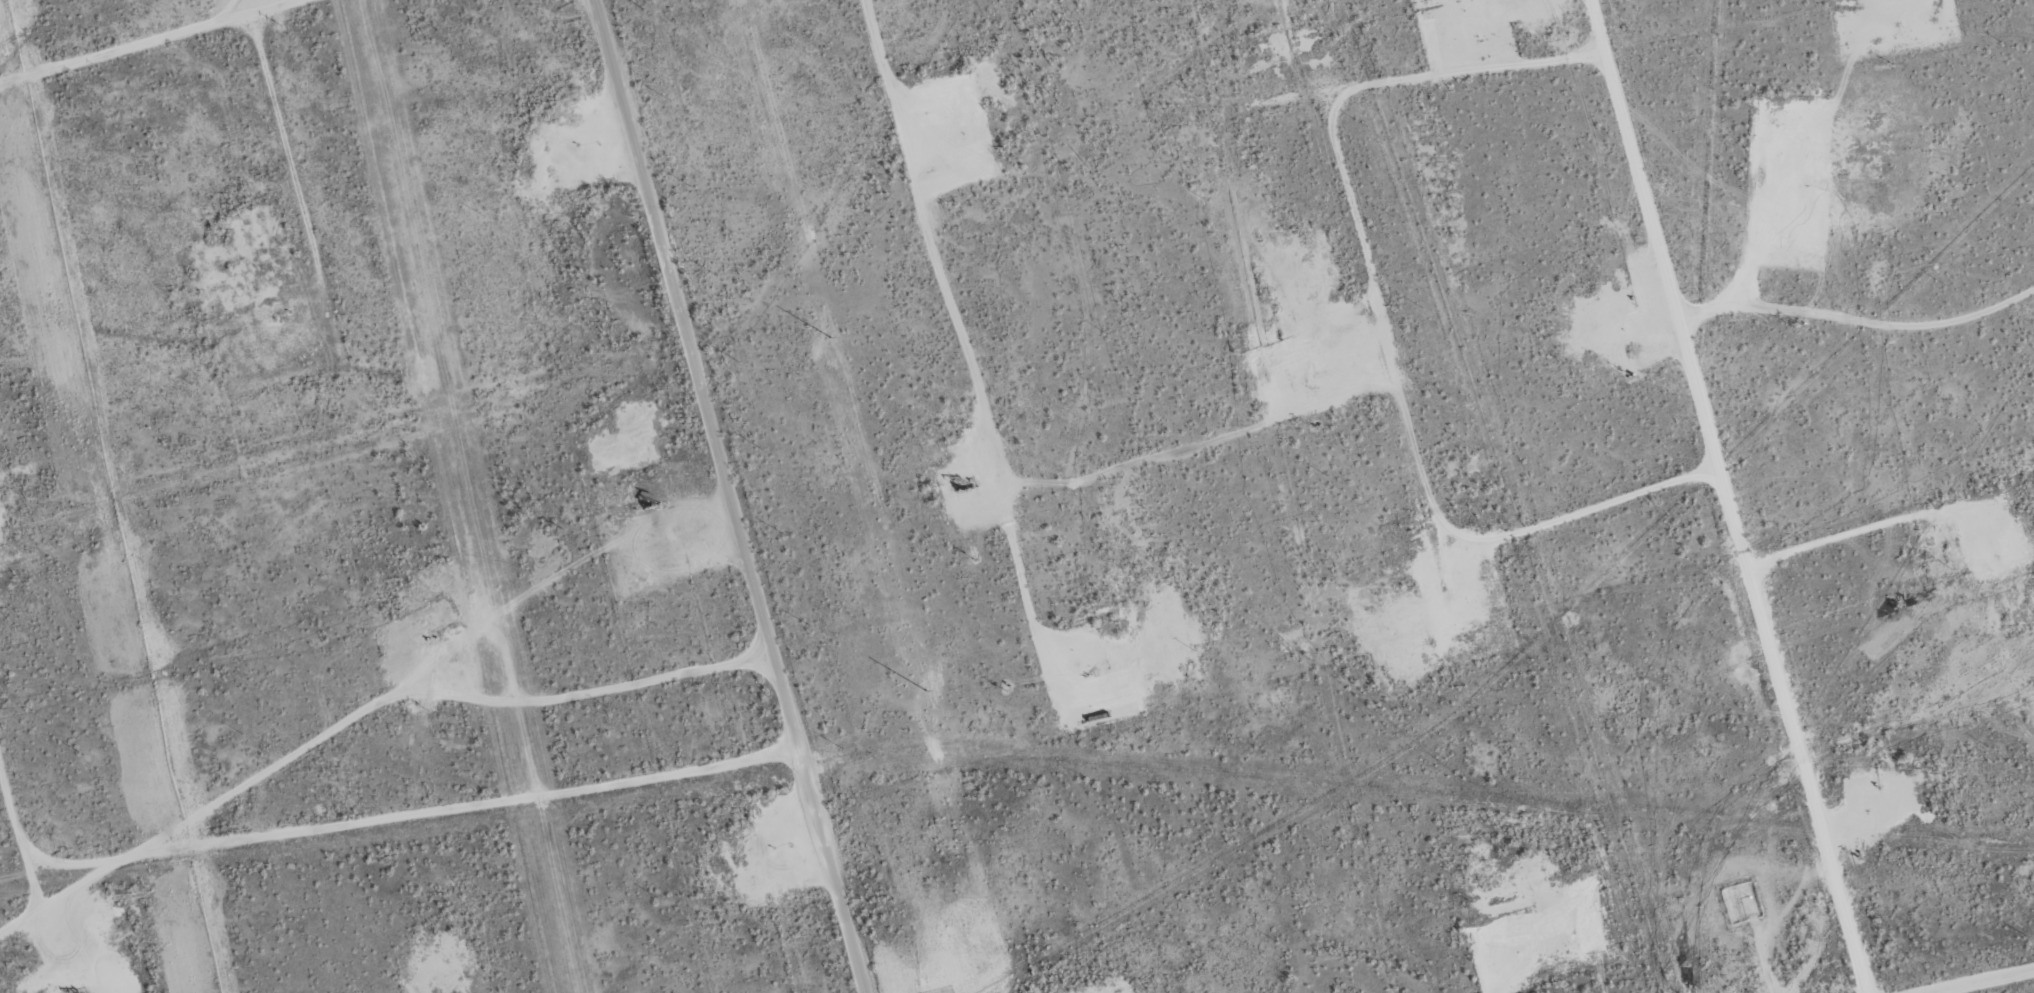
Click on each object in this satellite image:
power tower: (734, 1)
power tower: (830, 362)
road: (730, 496)
power tower: (928, 719)
road: (1975, 978)

